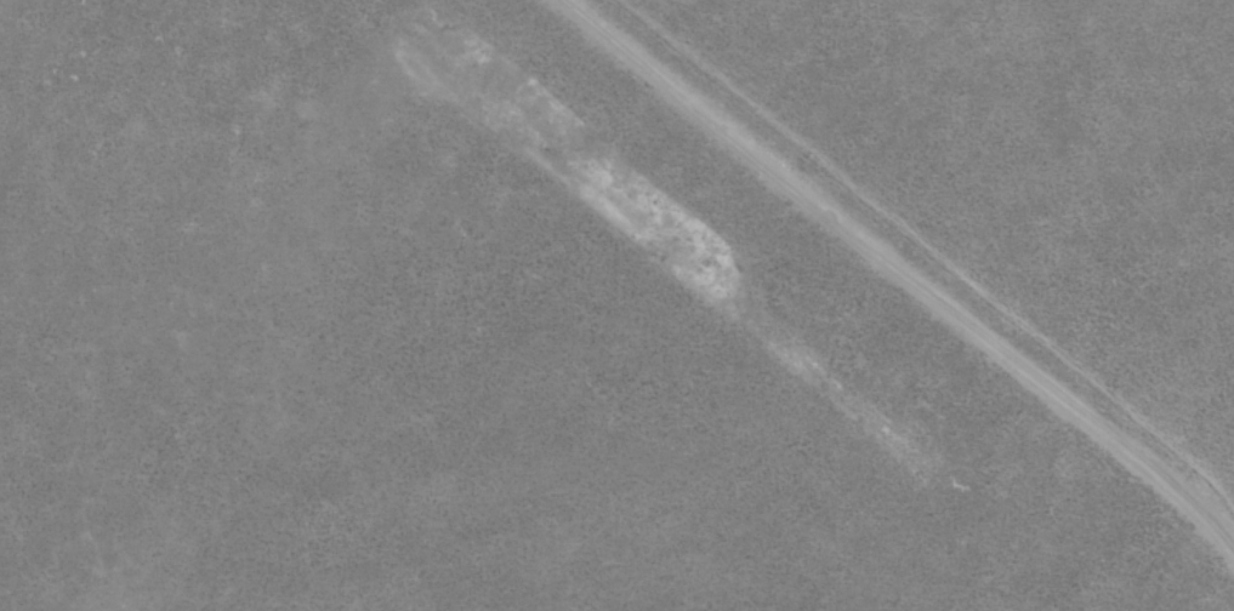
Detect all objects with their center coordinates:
road: (910, 270)

